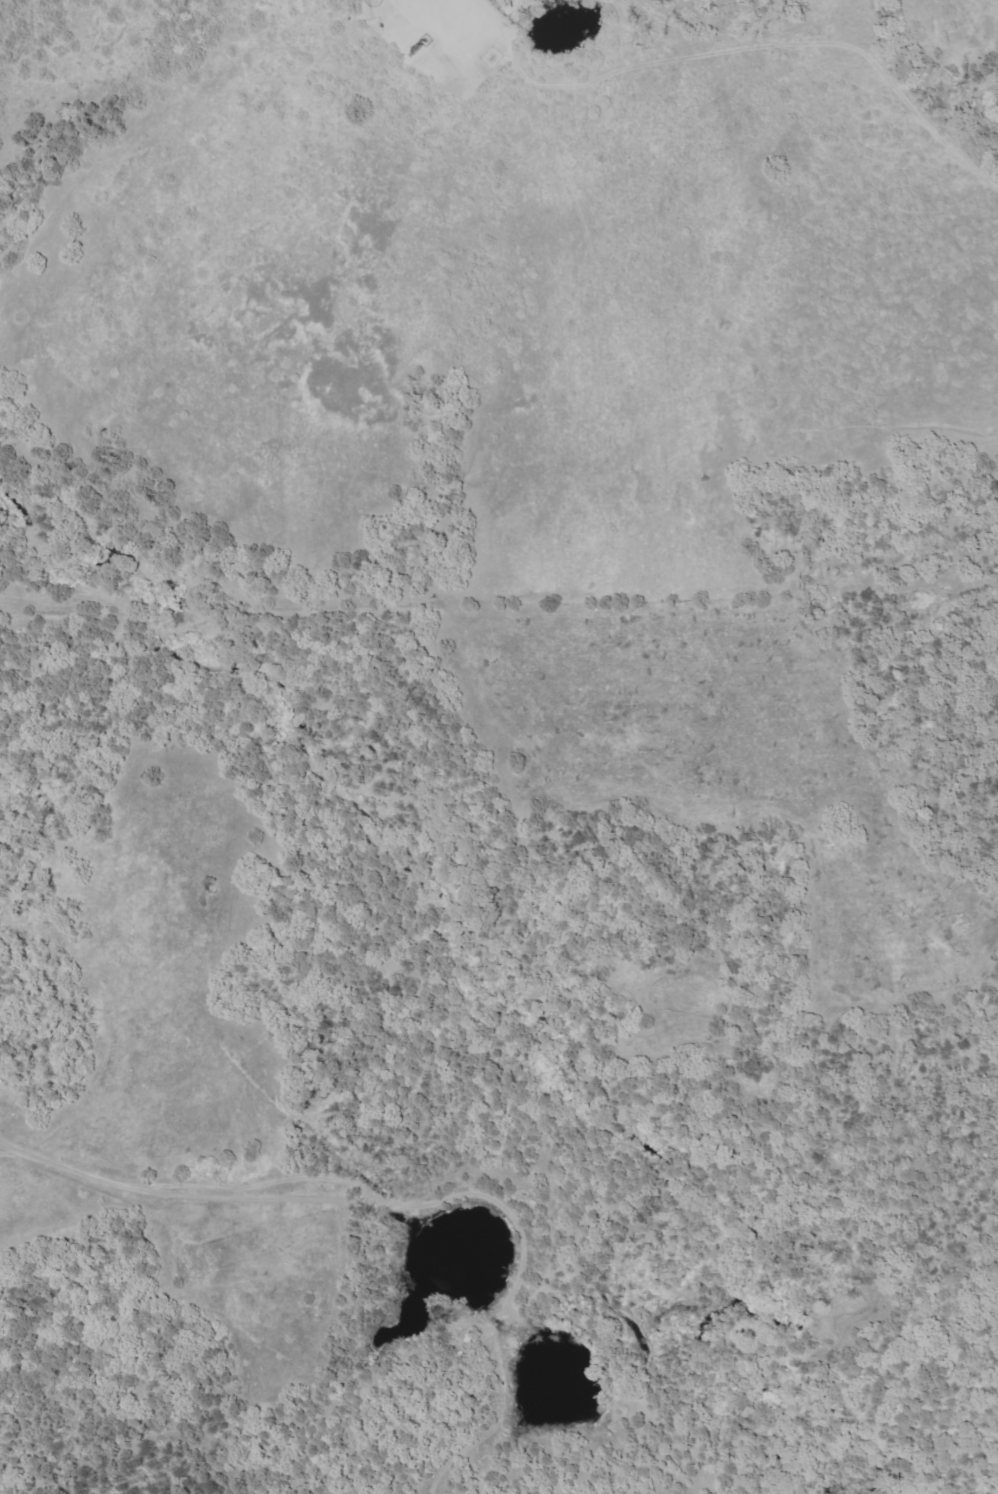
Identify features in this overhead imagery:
petroleum well: (418, 42)

